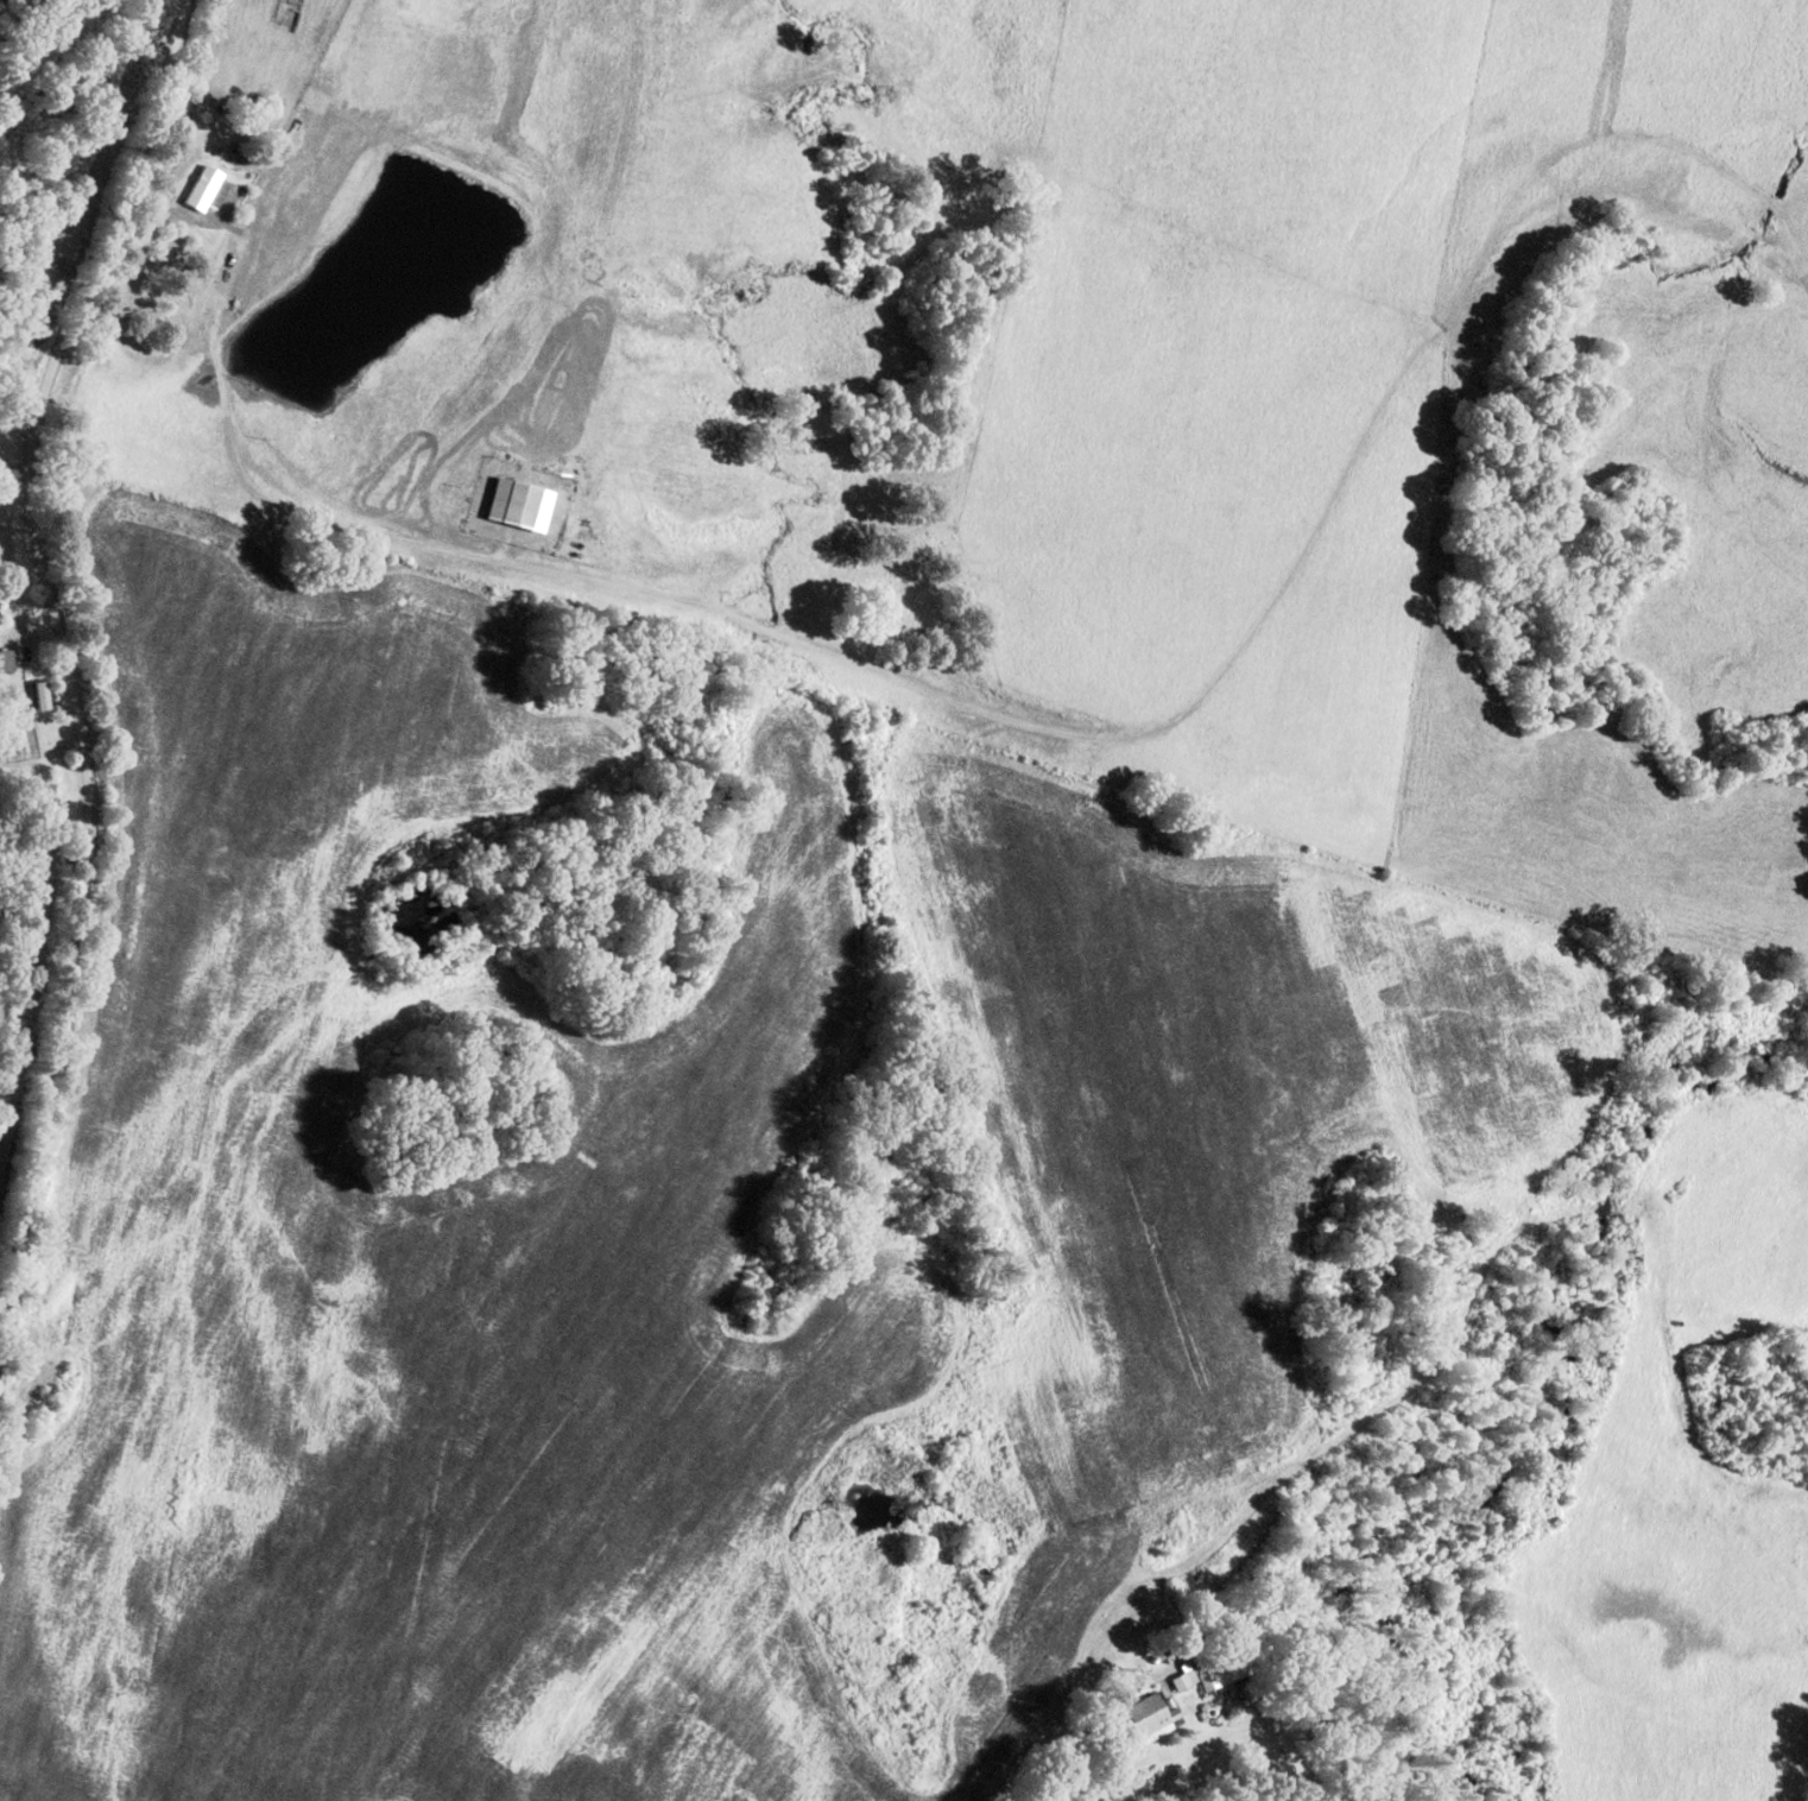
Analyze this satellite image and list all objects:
building: (201, 190)
building: (513, 503)
road: (58, 647)
building: (4, 659)
building: (1178, 1677)
building: (1144, 1717)

